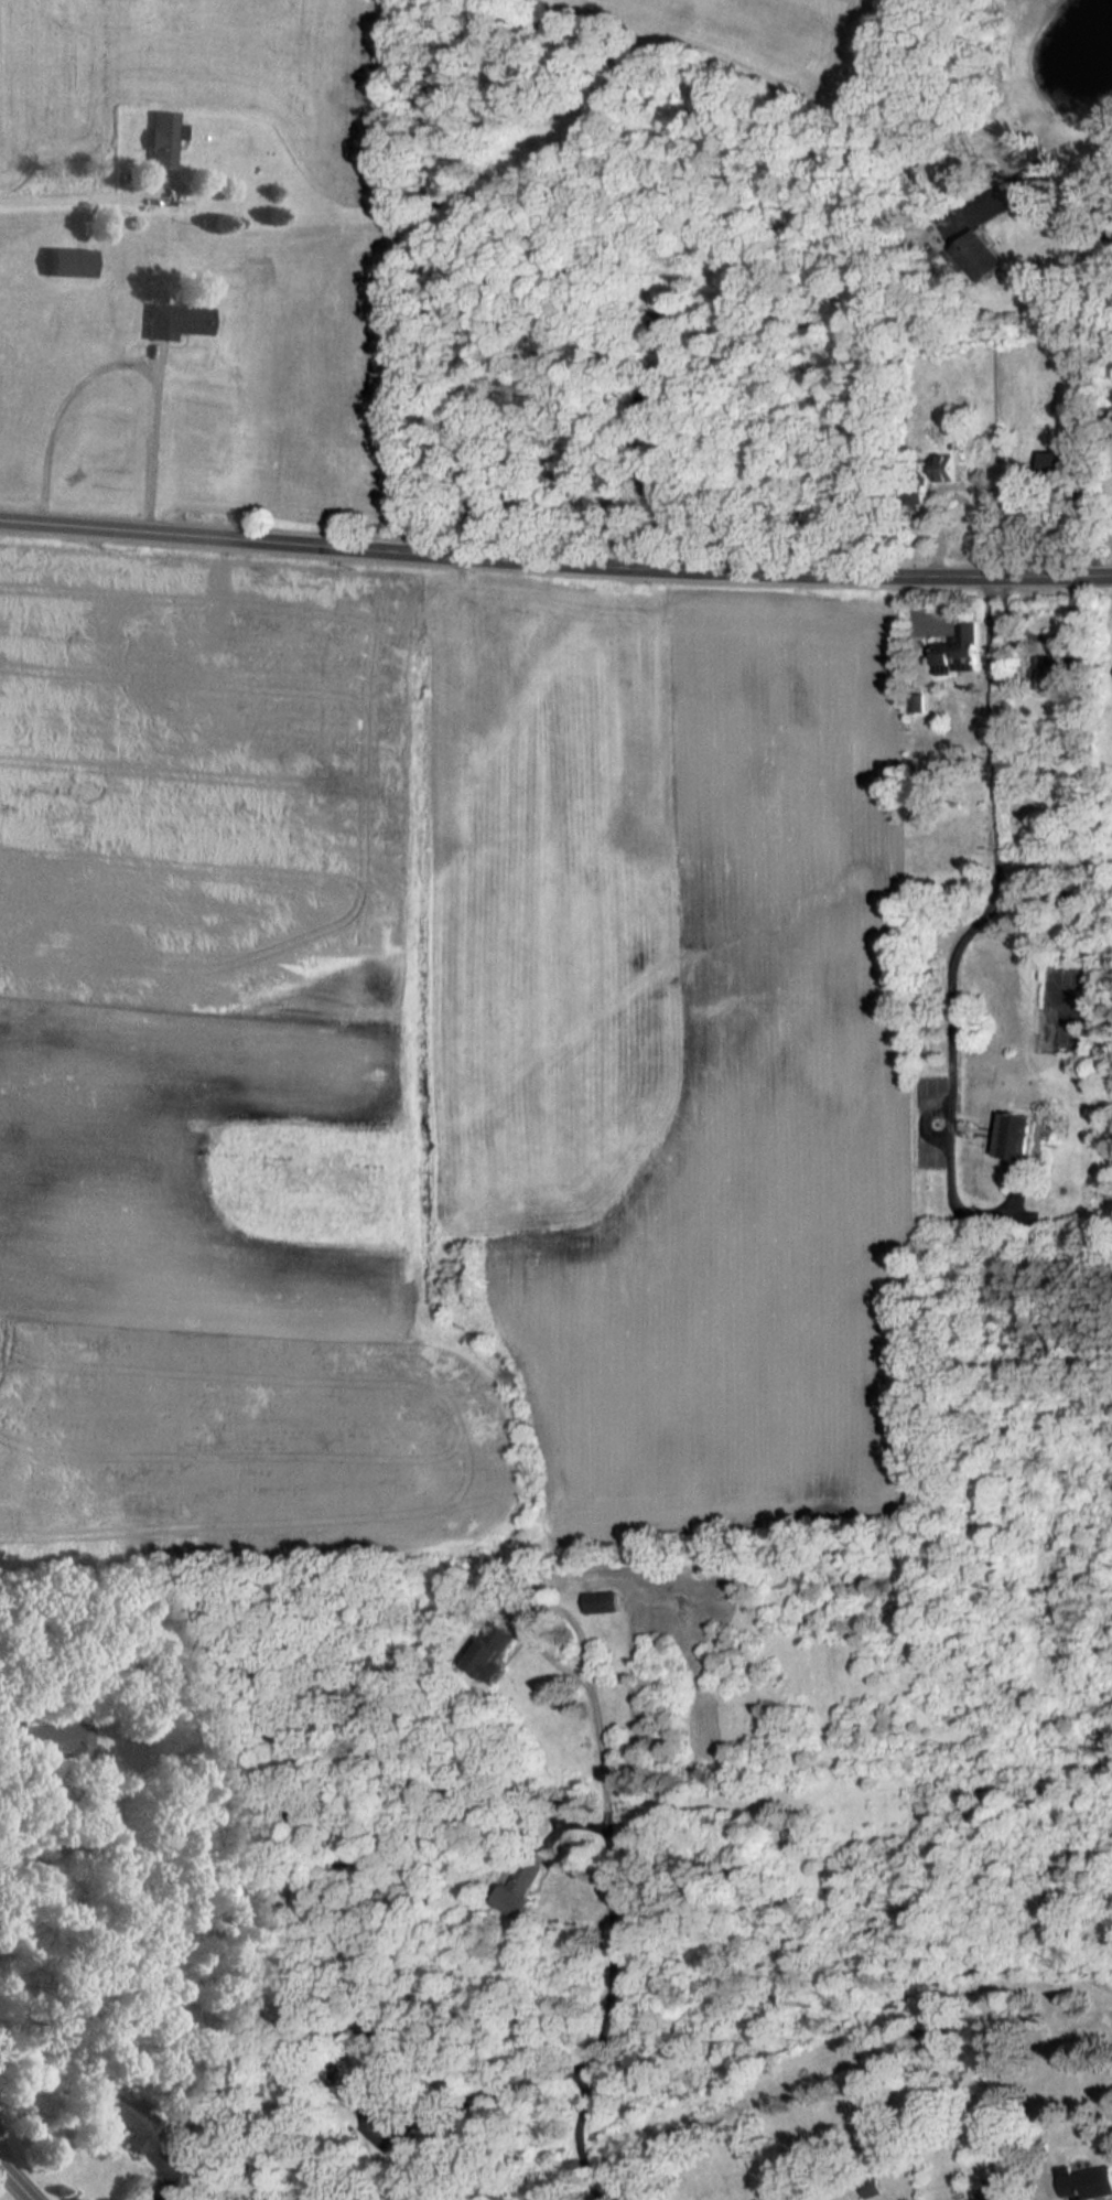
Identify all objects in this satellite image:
building: (158, 139)
road: (154, 185)
road: (1041, 189)
road: (86, 200)
building: (64, 262)
building: (172, 321)
road: (58, 406)
road: (151, 438)
building: (1062, 447)
building: (944, 466)
road: (554, 560)
road: (1036, 638)
building: (960, 647)
building: (1051, 667)
building: (917, 701)
road: (996, 858)
building: (1018, 1140)
building: (604, 1600)
road: (537, 1608)
building: (791, 1836)
road: (614, 1946)
road: (429, 2121)
building: (149, 2139)
road: (24, 2174)
building: (1083, 2180)
road: (37, 2194)
building: (996, 2197)

